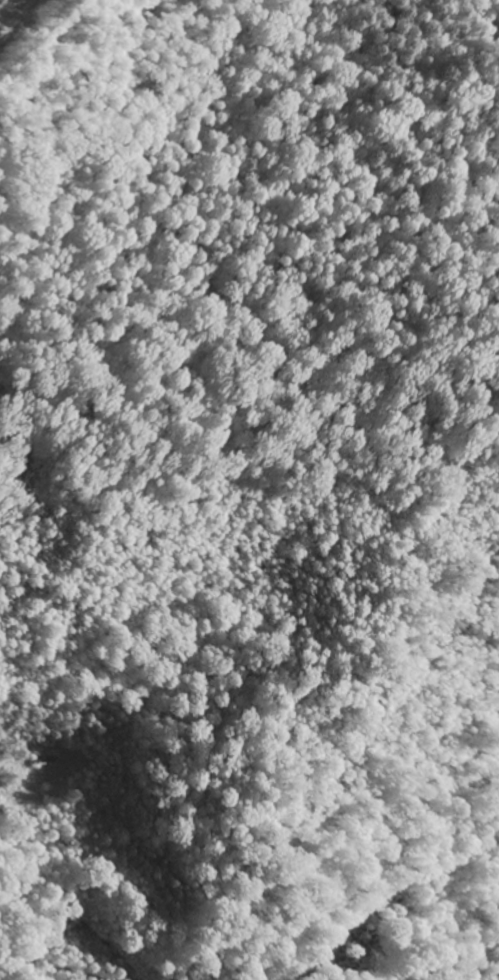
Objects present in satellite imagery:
road: (27, 968)

